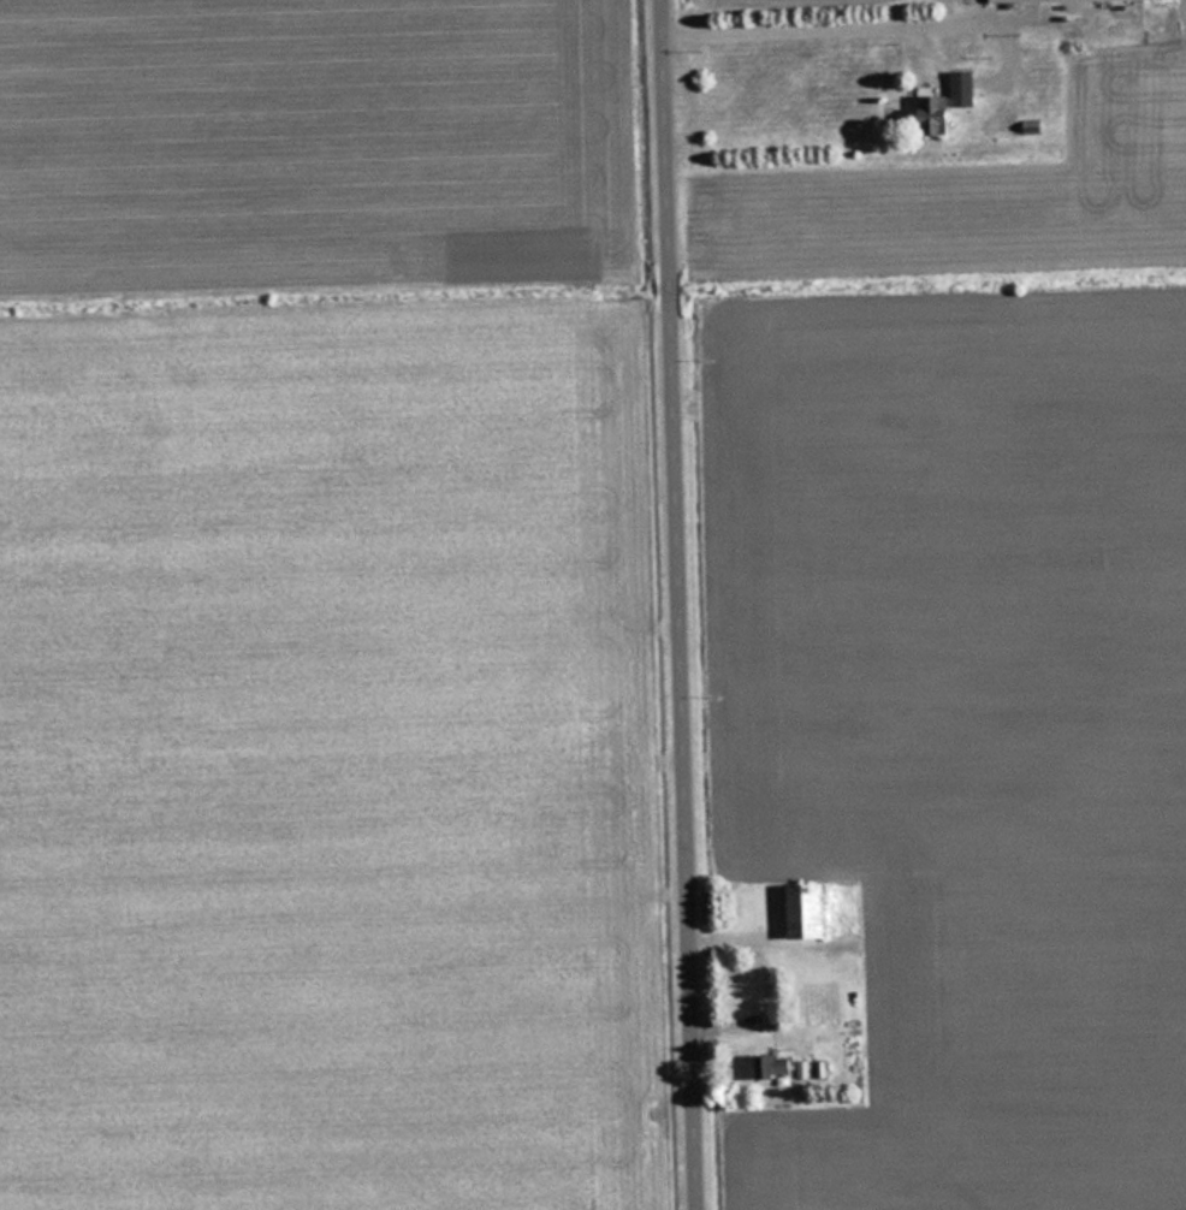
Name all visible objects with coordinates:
building: (1067, 0)
building: (950, 103)
road: (688, 604)
building: (808, 911)
building: (767, 1067)

